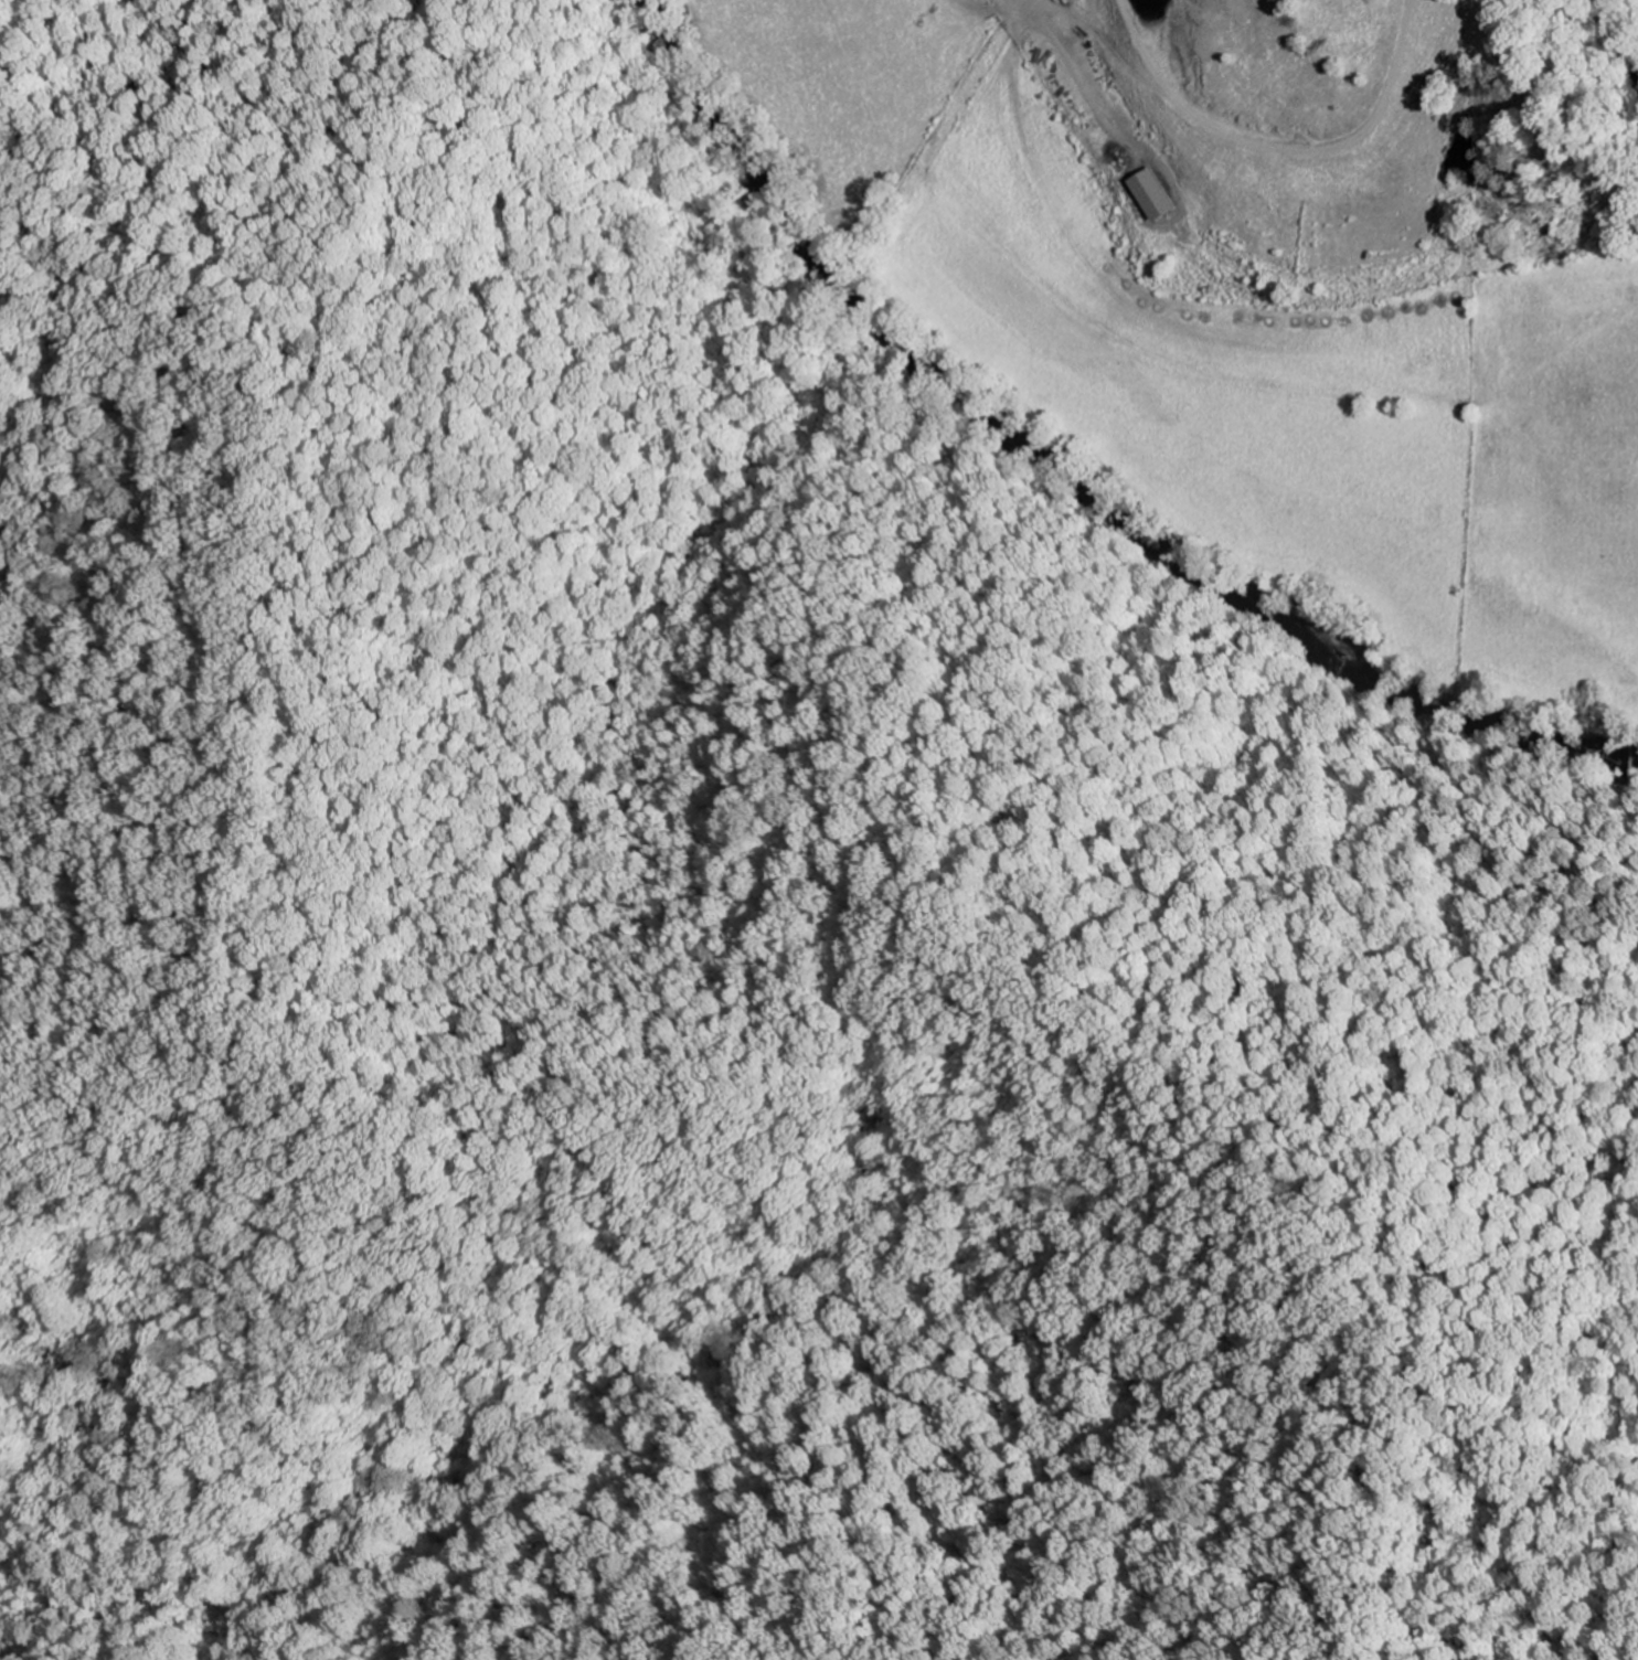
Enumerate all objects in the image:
river: (1620, 29)
building: (1157, 195)
river: (1064, 475)

